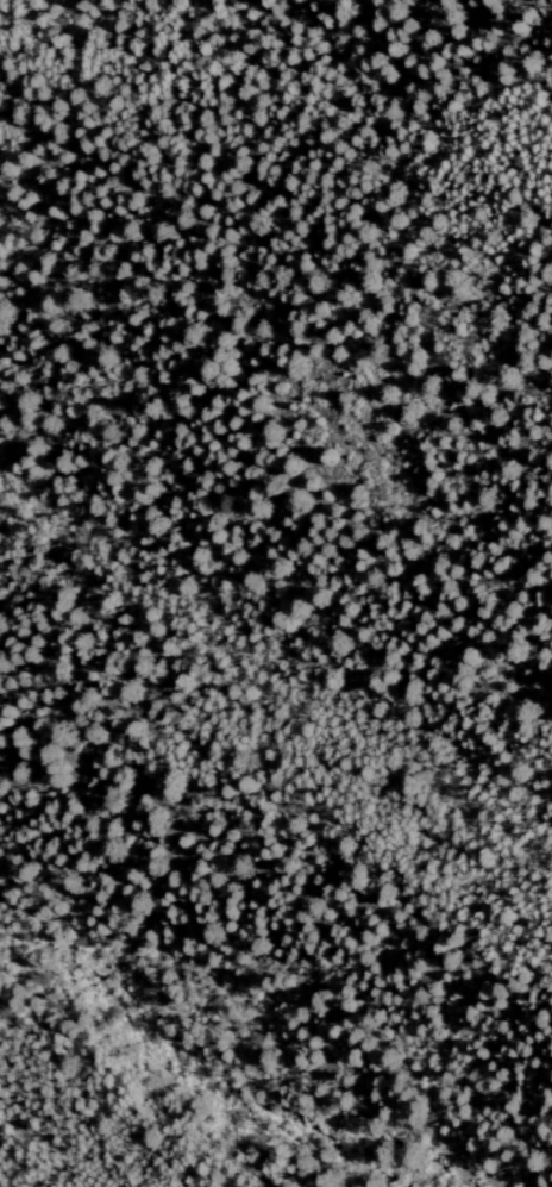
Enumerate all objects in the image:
road: (269, 839)

